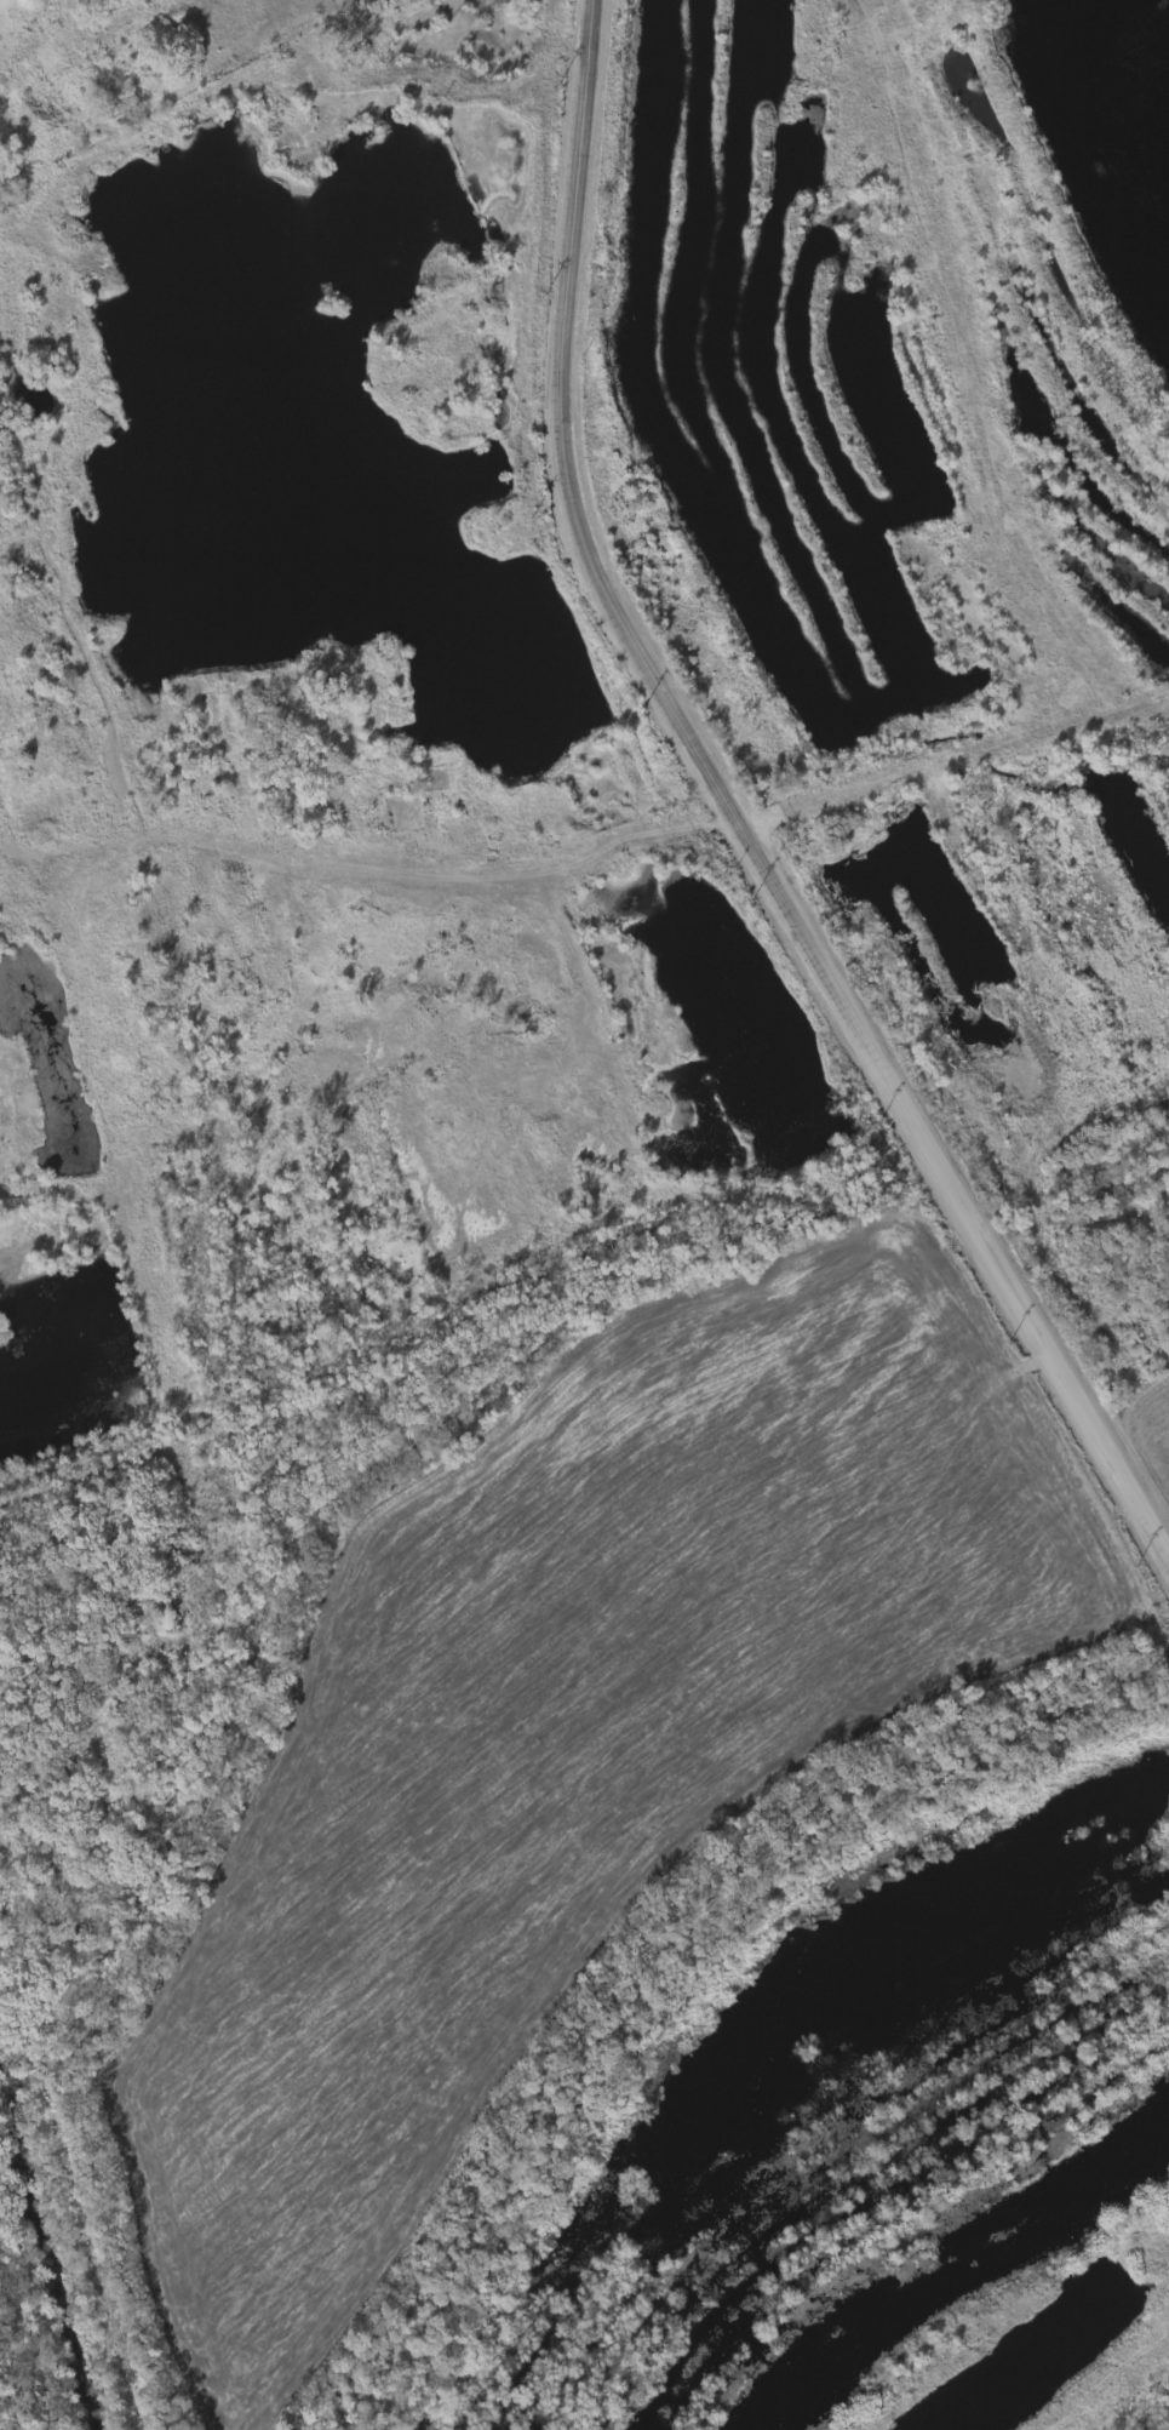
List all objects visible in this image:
road: (552, 41)
crop: (969, 730)
road: (958, 760)
road: (739, 810)
building: (405, 812)
road: (569, 876)
crop: (642, 1801)
crop: (883, 2277)

